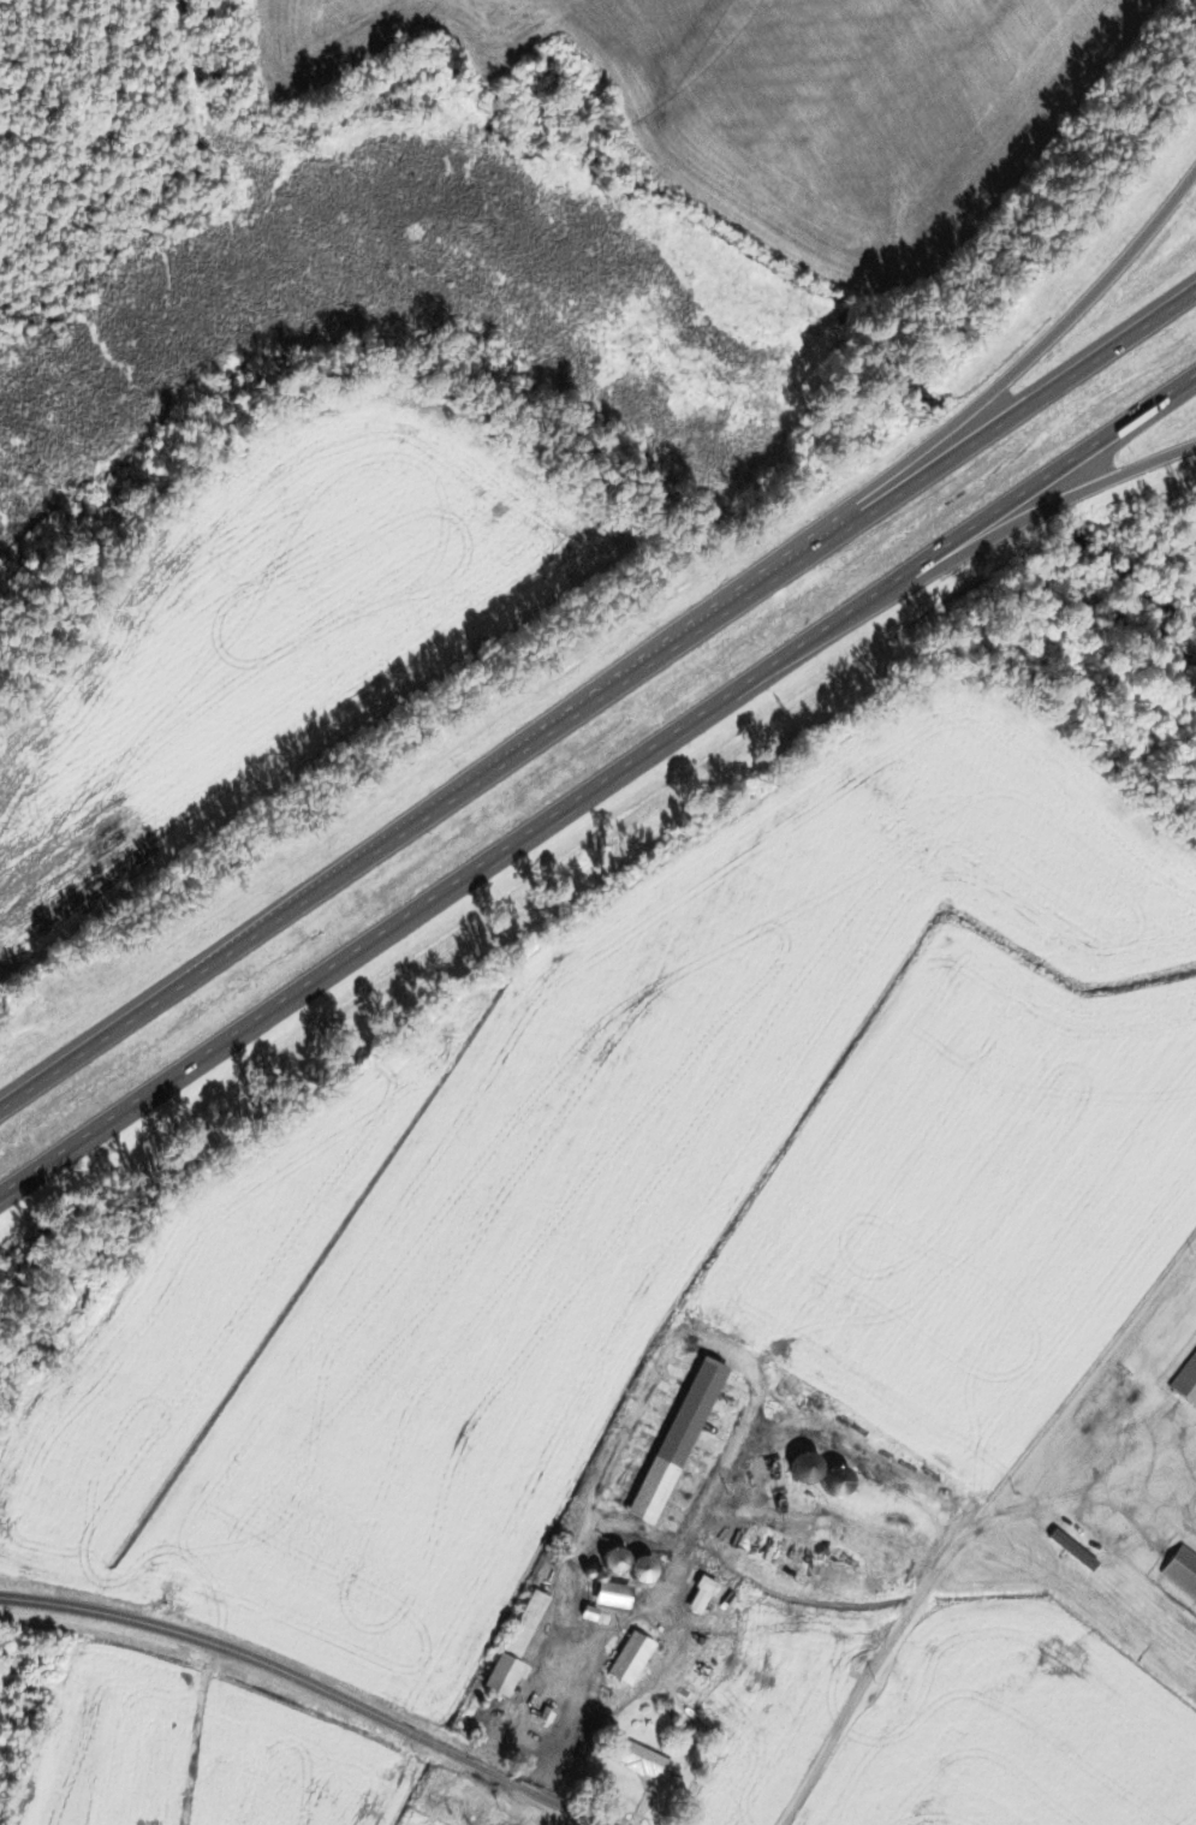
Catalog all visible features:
road: (953, 430)
road: (986, 549)
road: (594, 706)
road: (597, 792)
building: (1188, 1386)
building: (676, 1441)
building: (613, 1561)
building: (641, 1569)
building: (1180, 1574)
building: (611, 1594)
building: (700, 1597)
building: (516, 1646)
building: (624, 1669)
road: (314, 1683)
building: (642, 1761)
building: (142, 1821)

